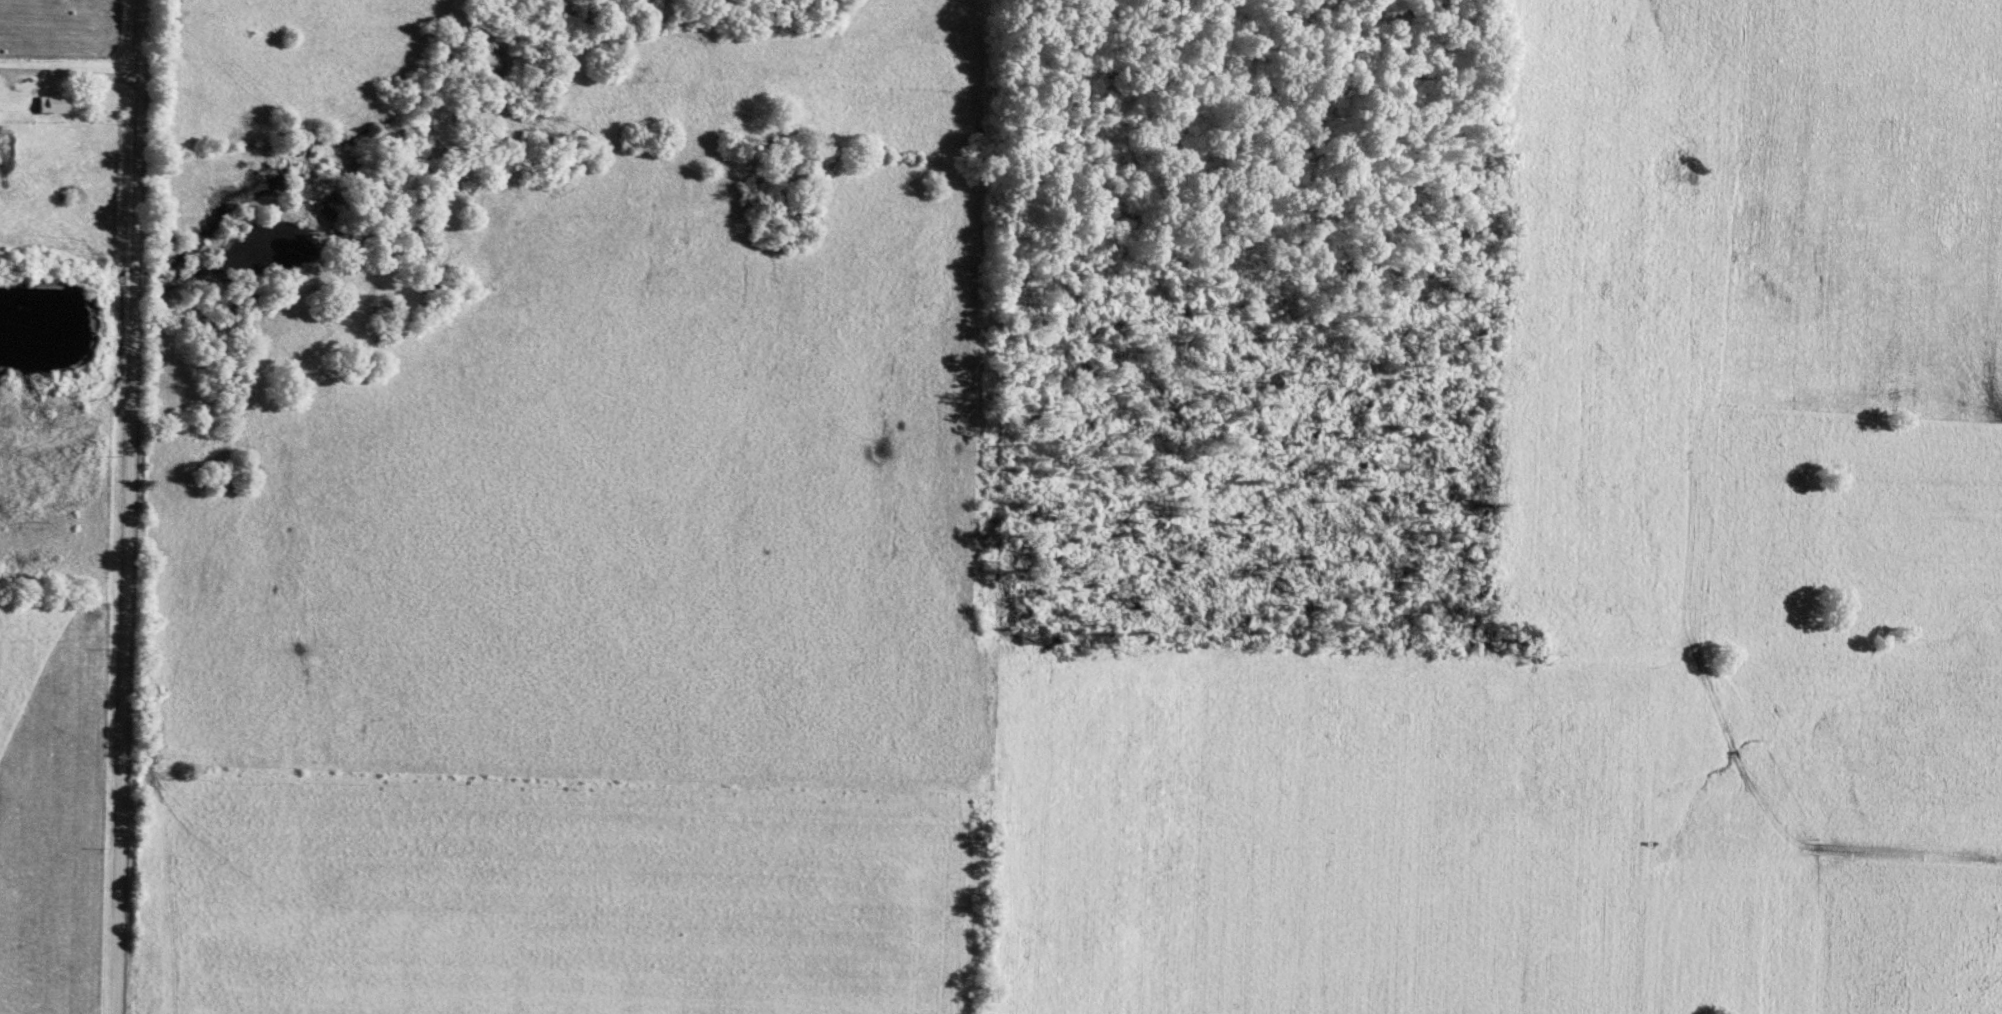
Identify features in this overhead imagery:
road: (69, 73)
building: (53, 101)
road: (130, 507)

